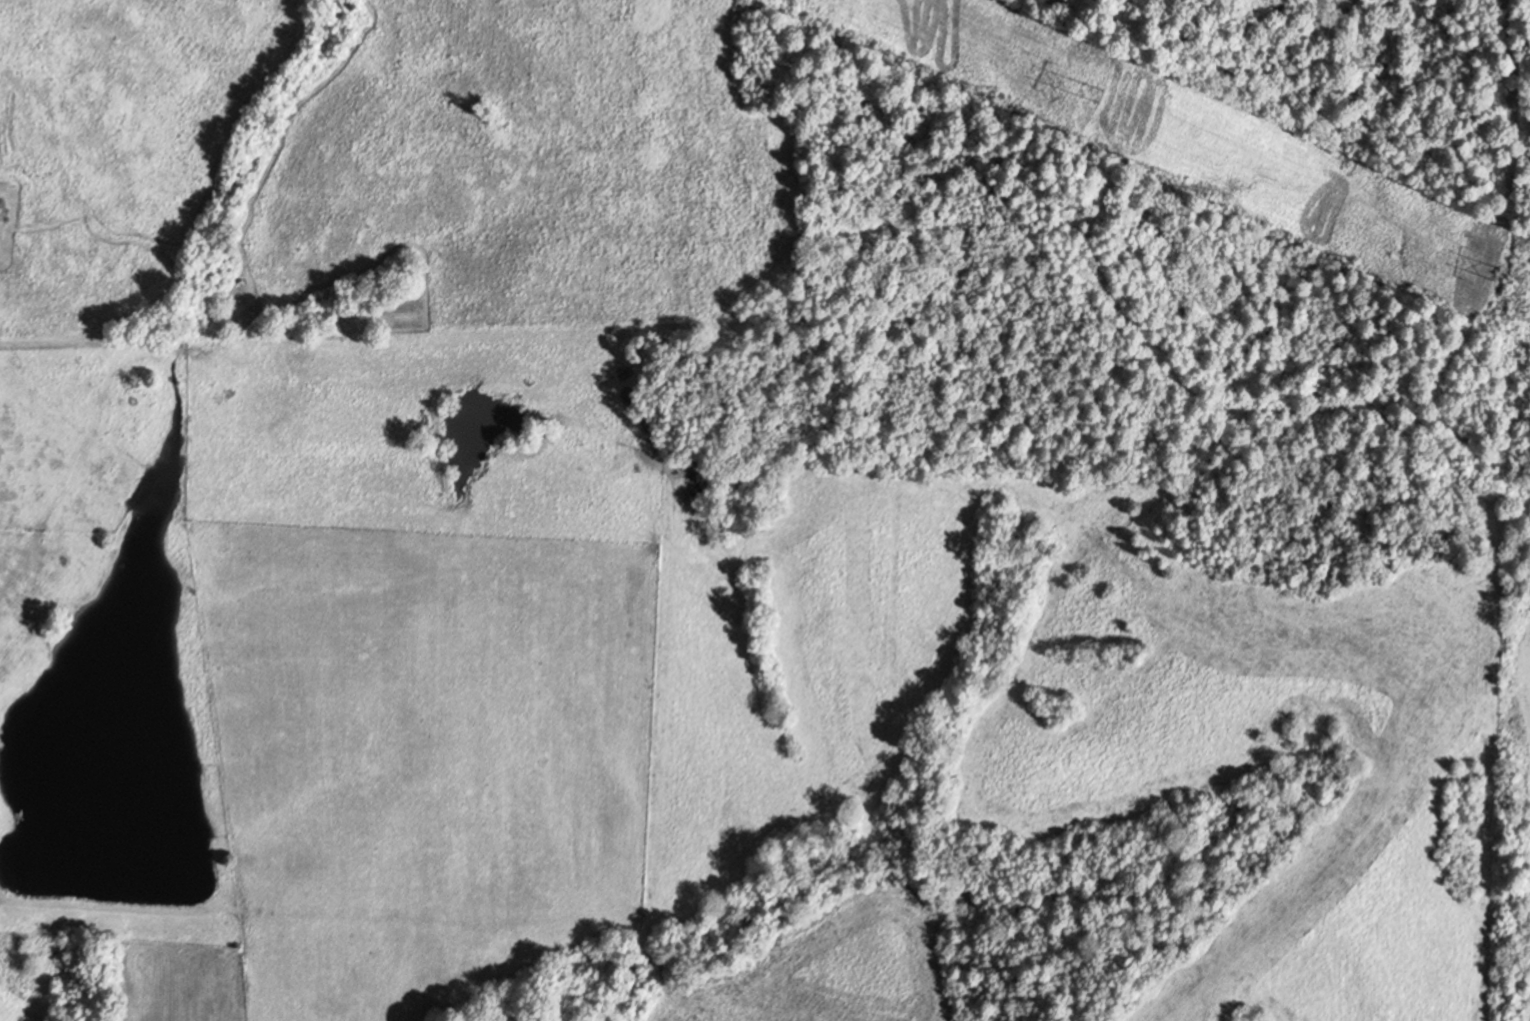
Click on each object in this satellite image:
power tower: (1104, 95)
building: (0, 236)
power tower: (1507, 271)

